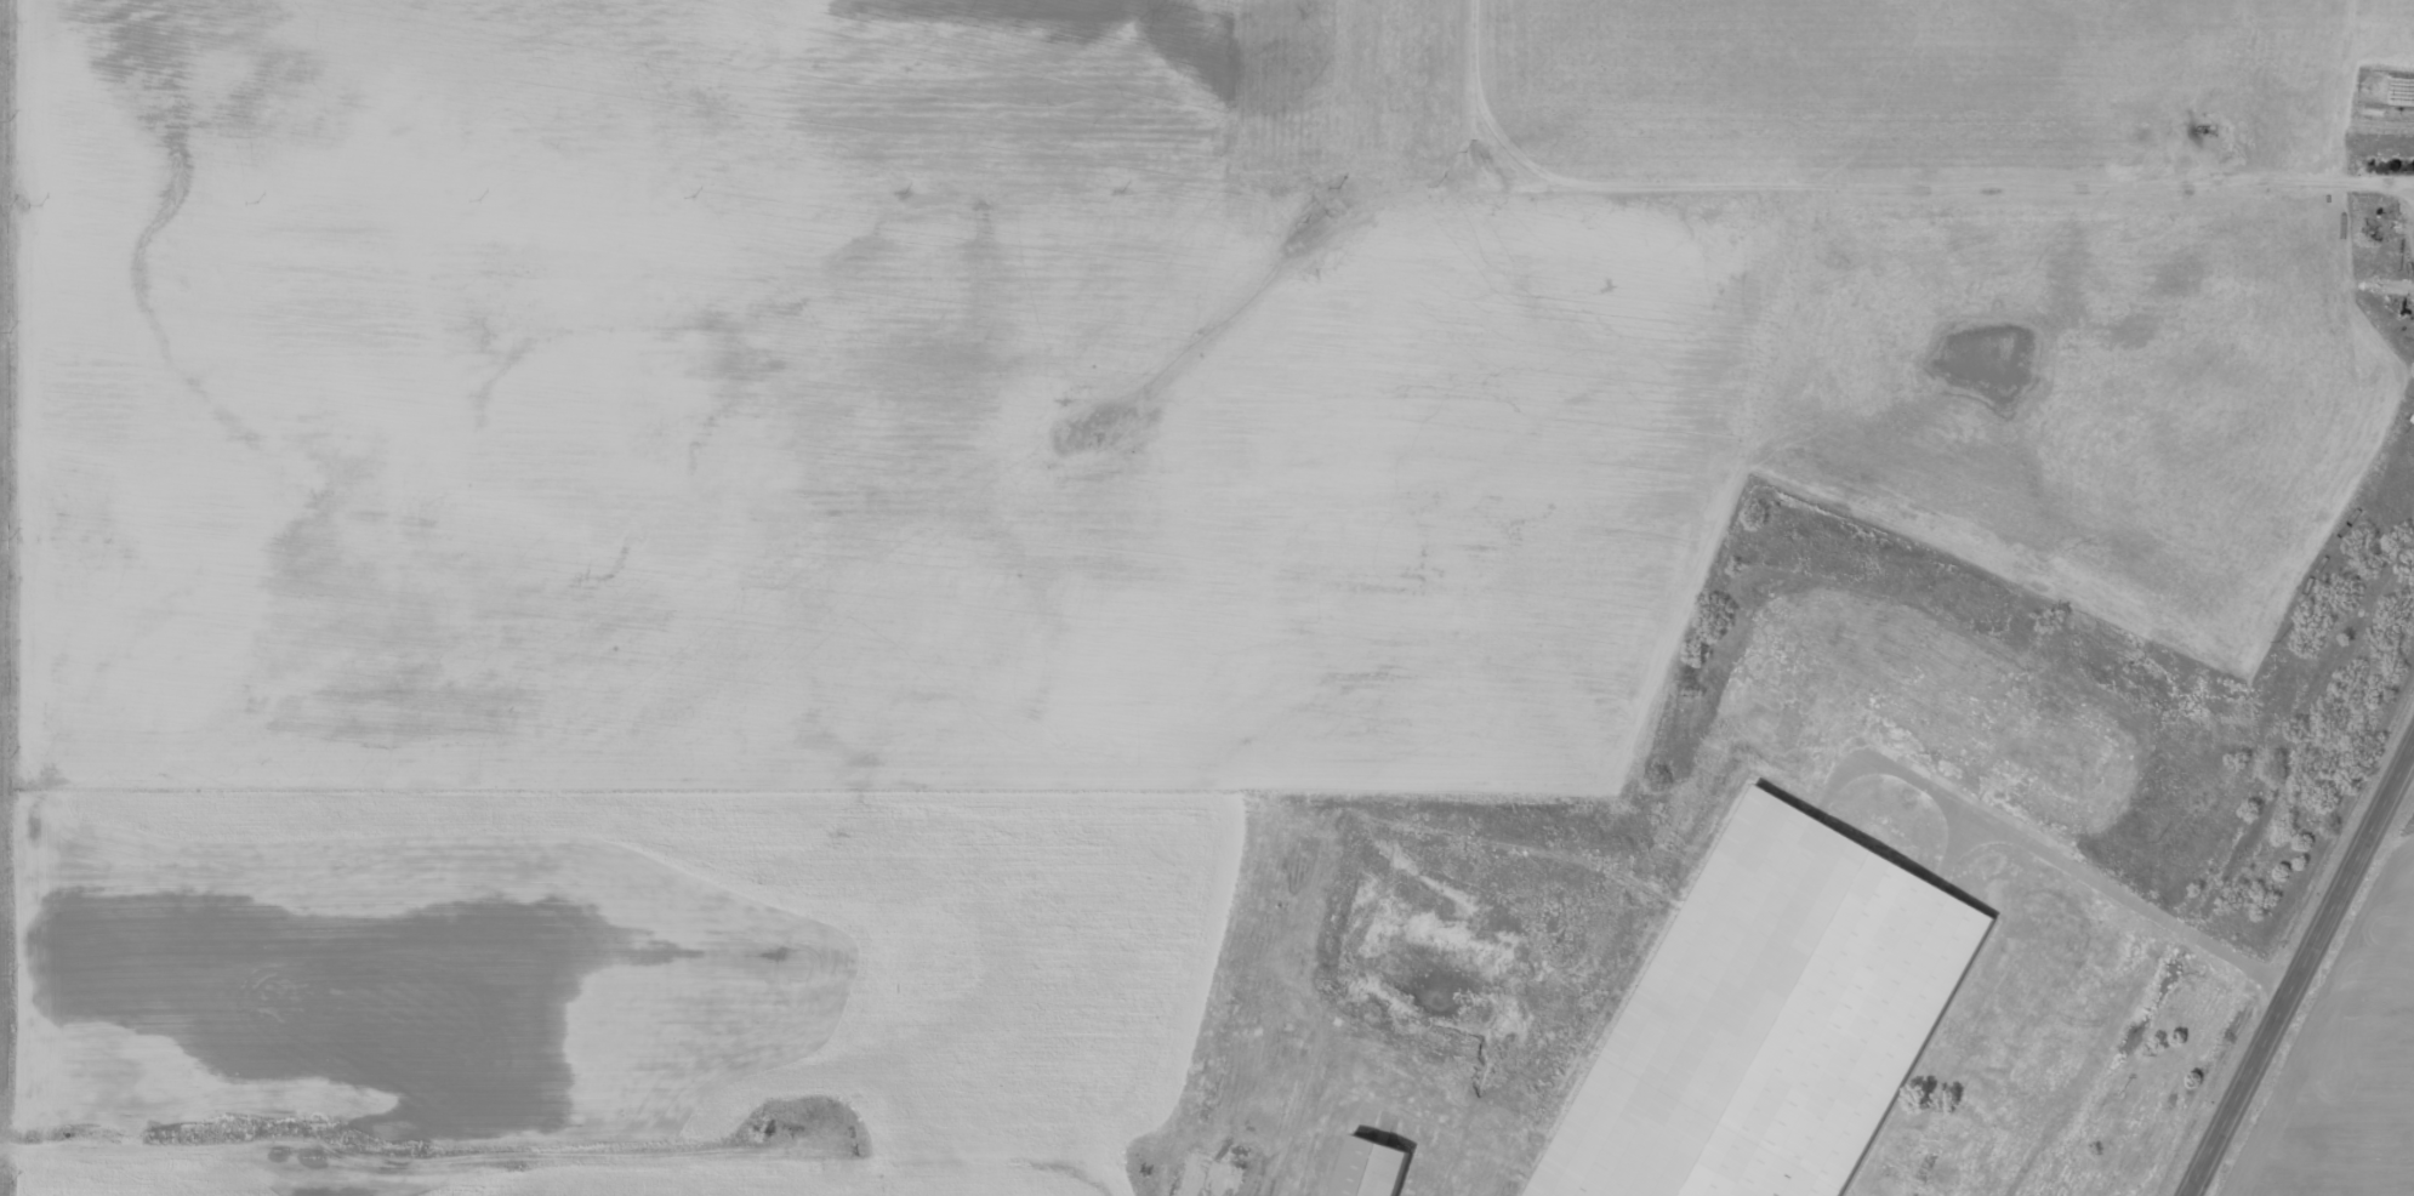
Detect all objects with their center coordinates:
road: (1872, 169)
road: (2306, 980)
building: (1769, 1016)
building: (1366, 1166)

